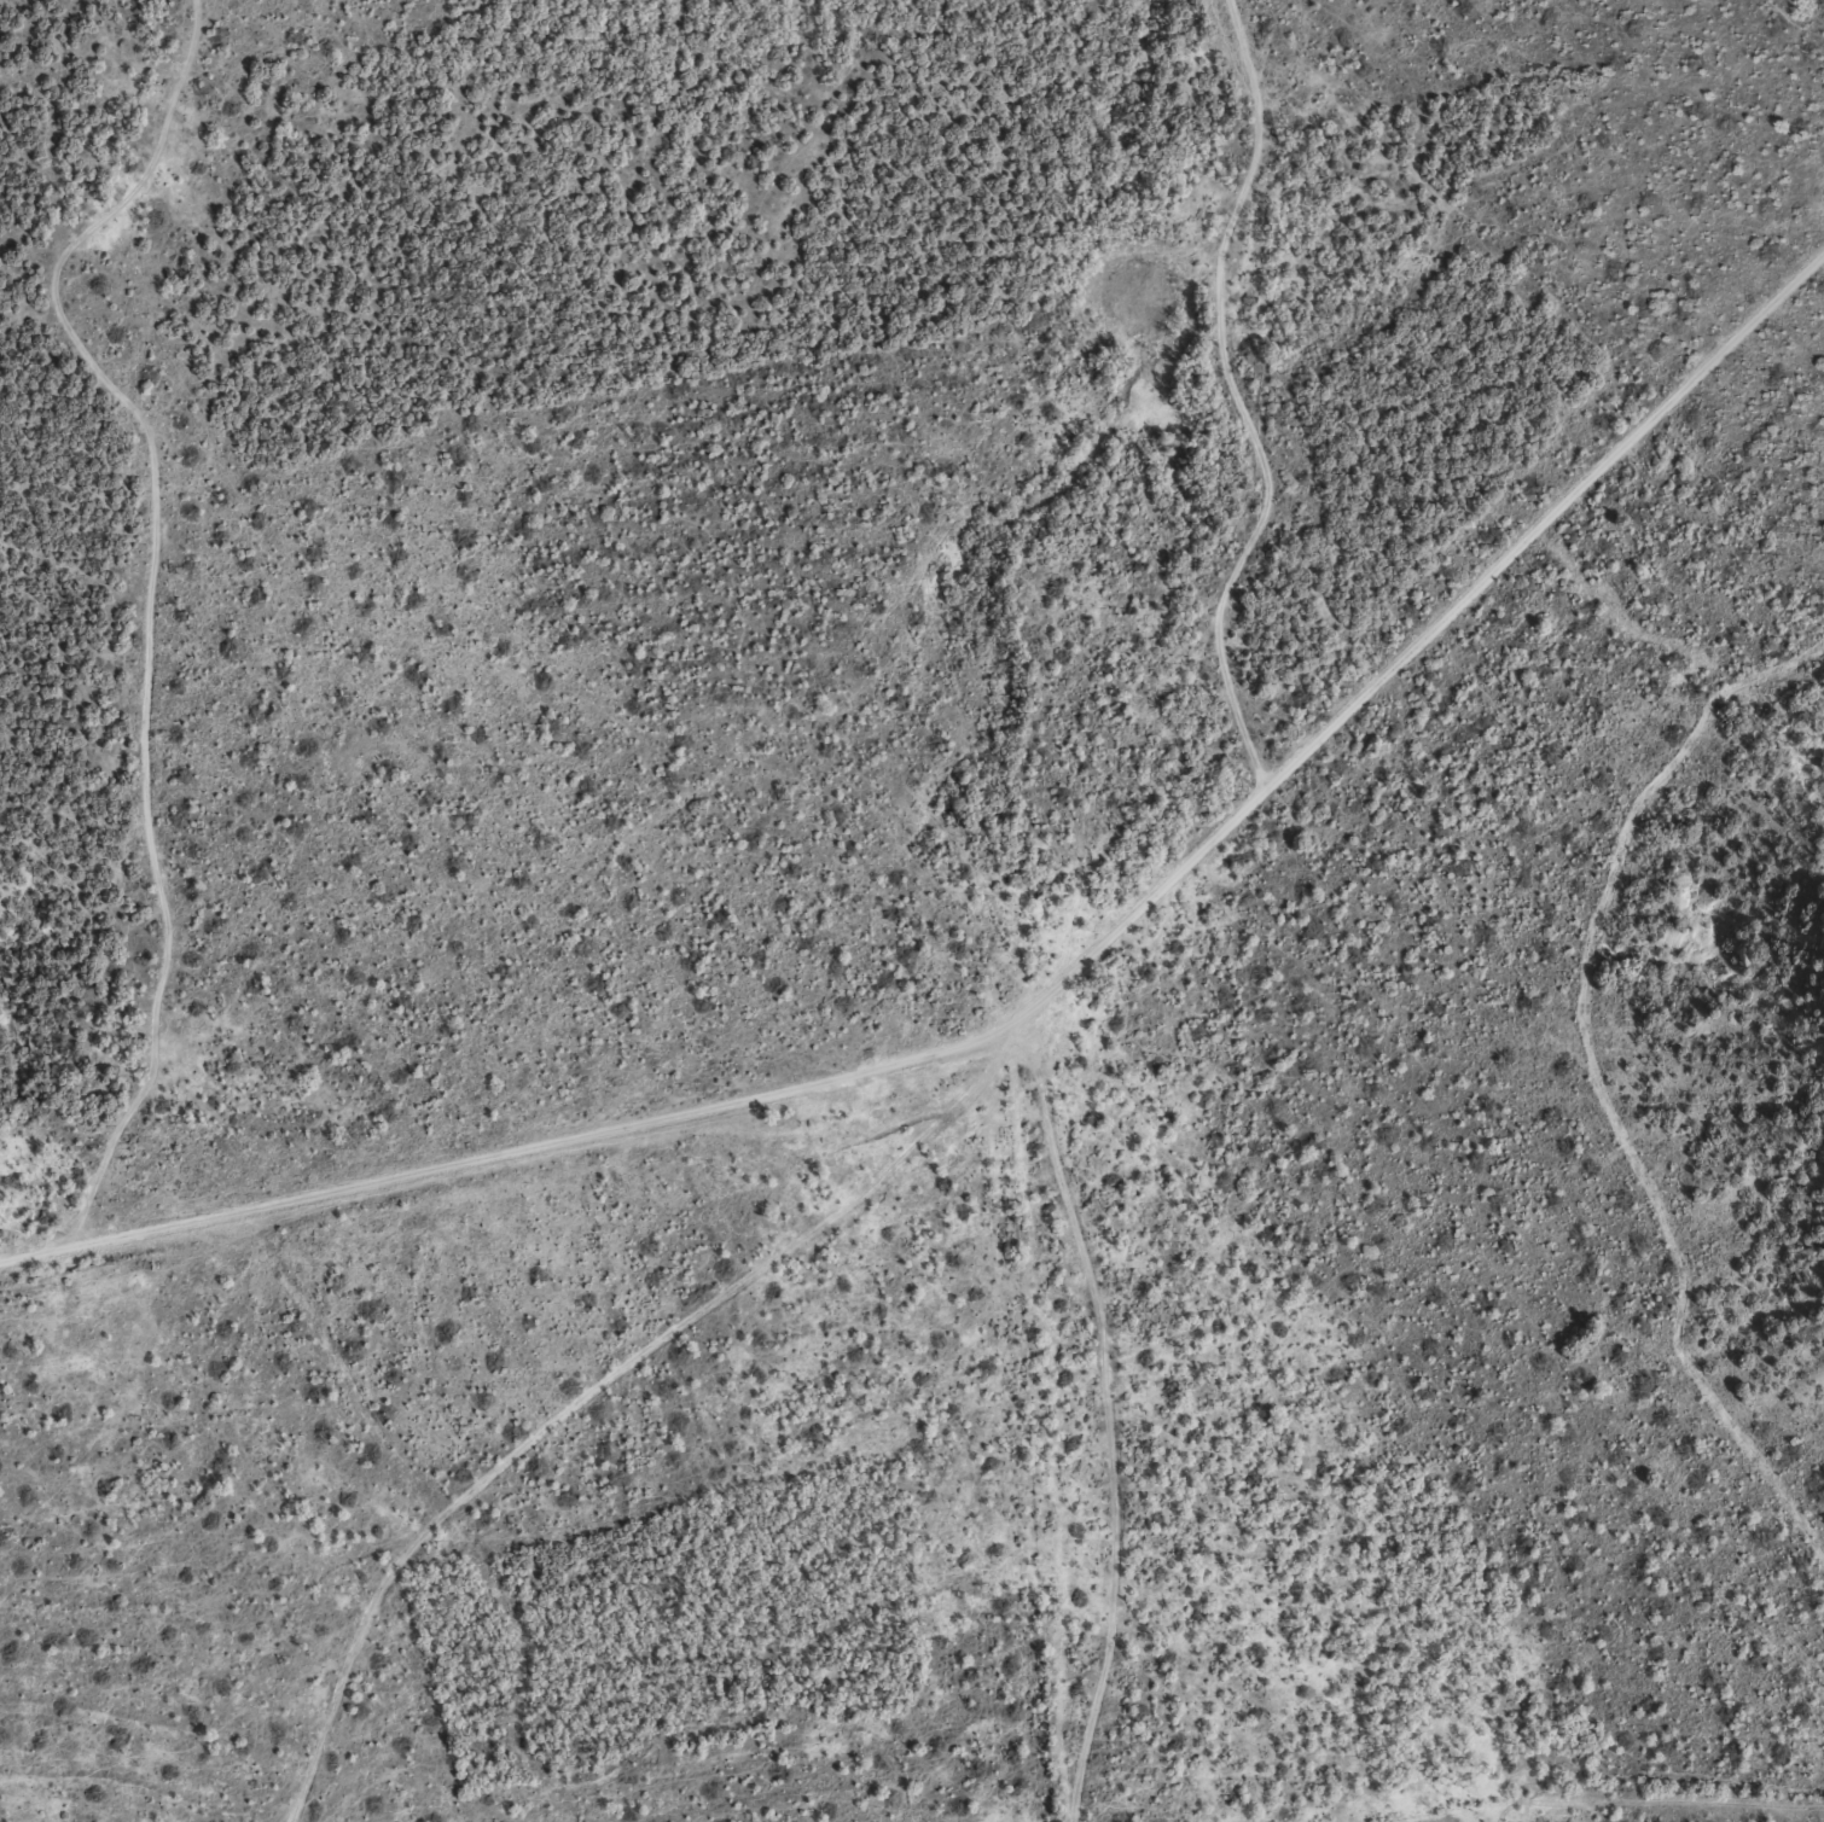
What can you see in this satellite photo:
road: (394, 269)
road: (159, 653)
road: (1048, 961)

